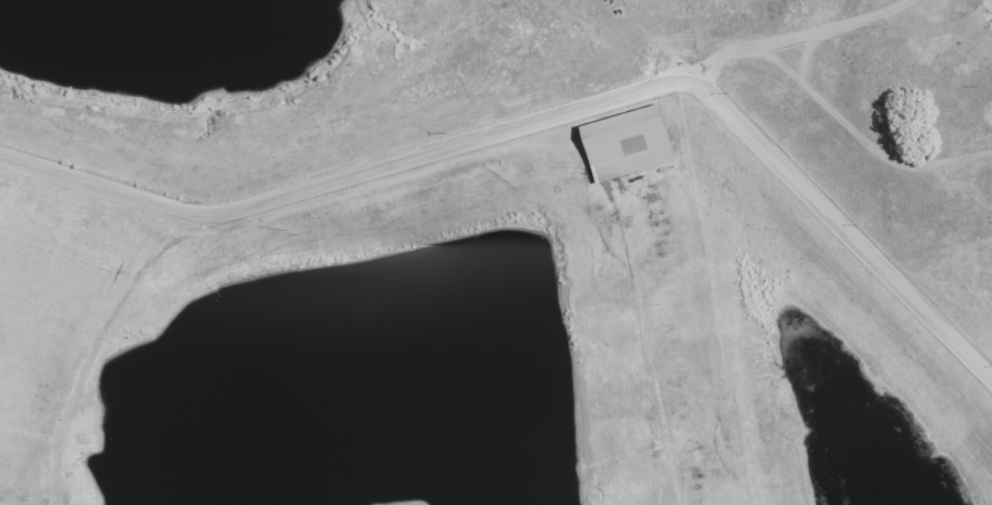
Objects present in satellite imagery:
road: (783, 40)
road: (546, 116)
road: (239, 357)

